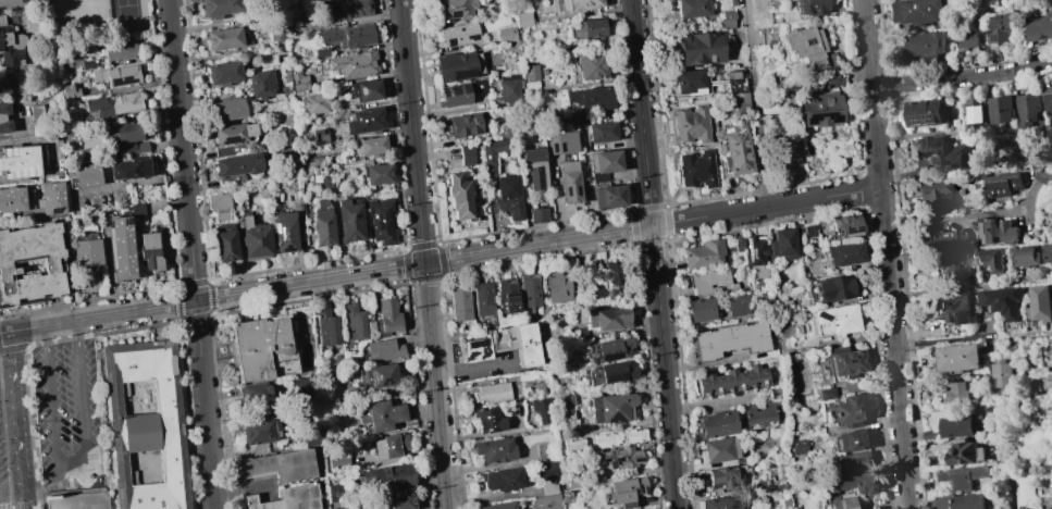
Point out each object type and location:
park: (29, 1)
building: (577, 4)
building: (808, 7)
building: (218, 8)
building: (691, 8)
building: (344, 10)
building: (456, 10)
building: (917, 10)
rooftop solar panel: (455, 12)
park: (126, 14)
park: (88, 20)
building: (523, 20)
building: (726, 20)
building: (589, 27)
building: (1003, 27)
building: (1040, 27)
building: (458, 34)
building: (506, 34)
building: (347, 36)
rooftop solar panel: (473, 36)
building: (969, 36)
building: (222, 38)
rooftop solar panel: (449, 40)
building: (925, 44)
building: (9, 46)
building: (807, 48)
rooftop solar panel: (1001, 48)
building: (698, 49)
building: (119, 50)
building: (320, 51)
building: (84, 64)
building: (355, 64)
building: (590, 66)
building: (456, 67)
building: (222, 72)
building: (530, 72)
building: (115, 75)
road: (963, 77)
building: (297, 80)
building: (689, 82)
building: (260, 84)
building: (508, 88)
building: (366, 90)
building: (66, 91)
building: (459, 92)
building: (1048, 95)
building: (590, 98)
building: (739, 101)
building: (313, 103)
road: (758, 103)
building: (112, 104)
building: (226, 108)
building: (819, 109)
building: (1003, 109)
building: (976, 110)
building: (1030, 111)
road: (641, 112)
building: (926, 112)
building: (1, 117)
building: (364, 121)
rooftop solar panel: (813, 123)
rooftop solar panel: (834, 123)
building: (463, 125)
building: (690, 125)
building: (125, 131)
building: (601, 131)
road: (411, 132)
building: (231, 133)
building: (561, 142)
building: (369, 146)
building: (784, 149)
road: (182, 150)
building: (231, 150)
building: (737, 150)
building: (942, 152)
building: (466, 154)
building: (18, 162)
building: (237, 164)
building: (488, 164)
building: (603, 164)
building: (534, 167)
building: (127, 169)
building: (695, 169)
building: (376, 174)
building: (81, 176)
building: (1040, 176)
building: (232, 181)
building: (569, 183)
building: (1001, 184)
building: (932, 191)
building: (508, 196)
building: (607, 196)
building: (459, 197)
building: (50, 198)
building: (10, 199)
building: (219, 204)
road: (766, 207)
rooftop solar panel: (52, 208)
building: (537, 214)
road: (967, 216)
rooftop solar panel: (126, 219)
building: (382, 220)
building: (348, 221)
building: (846, 225)
building: (322, 227)
building: (986, 229)
building: (283, 232)
building: (807, 232)
building: (1008, 233)
building: (255, 238)
building: (938, 238)
building: (781, 244)
building: (225, 245)
road: (537, 245)
rooftop solar panel: (285, 247)
building: (120, 249)
building: (149, 251)
building: (1048, 251)
building: (86, 253)
building: (703, 253)
building: (844, 253)
road: (886, 254)
building: (1025, 256)
building: (755, 257)
rooftop solar panel: (960, 257)
building: (994, 259)
building: (30, 263)
traffic signals: (423, 264)
building: (954, 264)
building: (612, 278)
building: (707, 281)
road: (309, 283)
road: (970, 284)
building: (556, 287)
building: (836, 288)
building: (529, 290)
building: (596, 290)
building: (506, 295)
rooftop solar panel: (508, 298)
building: (482, 299)
building: (1002, 300)
road: (22, 302)
building: (458, 302)
building: (1039, 303)
rooftop solar panel: (510, 306)
building: (735, 306)
building: (701, 309)
building: (954, 309)
road: (46, 314)
building: (388, 315)
road: (102, 316)
road: (181, 319)
building: (606, 319)
building: (837, 319)
building: (352, 320)
rooftop solar panel: (965, 320)
building: (325, 327)
road: (77, 330)
road: (116, 331)
road: (4, 332)
road: (48, 334)
building: (729, 339)
road: (942, 340)
building: (504, 344)
road: (13, 348)
building: (261, 349)
building: (612, 349)
building: (382, 350)
rooftop solar panel: (609, 356)
building: (958, 357)
building: (845, 362)
road: (664, 367)
road: (473, 370)
building: (617, 372)
building: (1000, 374)
rooftop solar panel: (372, 375)
building: (379, 375)
building: (731, 380)
rooftop solar panel: (384, 382)
road: (434, 386)
building: (302, 387)
building: (490, 394)
building: (826, 394)
building: (956, 394)
building: (253, 396)
road: (205, 405)
building: (564, 407)
road: (16, 408)
building: (610, 408)
building: (539, 409)
building: (850, 411)
building: (381, 415)
building: (757, 415)
parking lot: (69, 417)
rooftop solar panel: (615, 418)
building: (485, 422)
building: (146, 424)
building: (716, 424)
building: (954, 427)
building: (260, 431)
building: (311, 436)
building: (634, 436)
building: (604, 440)
building: (854, 440)
building: (388, 446)
building: (572, 446)
building: (799, 447)
building: (719, 449)
building: (493, 450)
building: (544, 451)
building: (965, 454)
building: (620, 457)
building: (853, 462)
building: (349, 463)
building: (280, 465)
road: (74, 467)
building: (544, 471)
building: (721, 475)
building: (962, 476)
building: (387, 479)
road: (54, 480)
building: (503, 480)
building: (855, 483)
road: (30, 484)
building: (548, 486)
building: (1025, 489)
building: (626, 491)
building: (335, 493)
road: (24, 496)
building: (565, 496)
building: (286, 498)
building: (400, 500)
building: (76, 501)
building: (547, 501)
building: (841, 501)
building: (955, 501)
building: (717, 502)
road: (12, 506)
road: (33, 506)
building: (498, 506)

